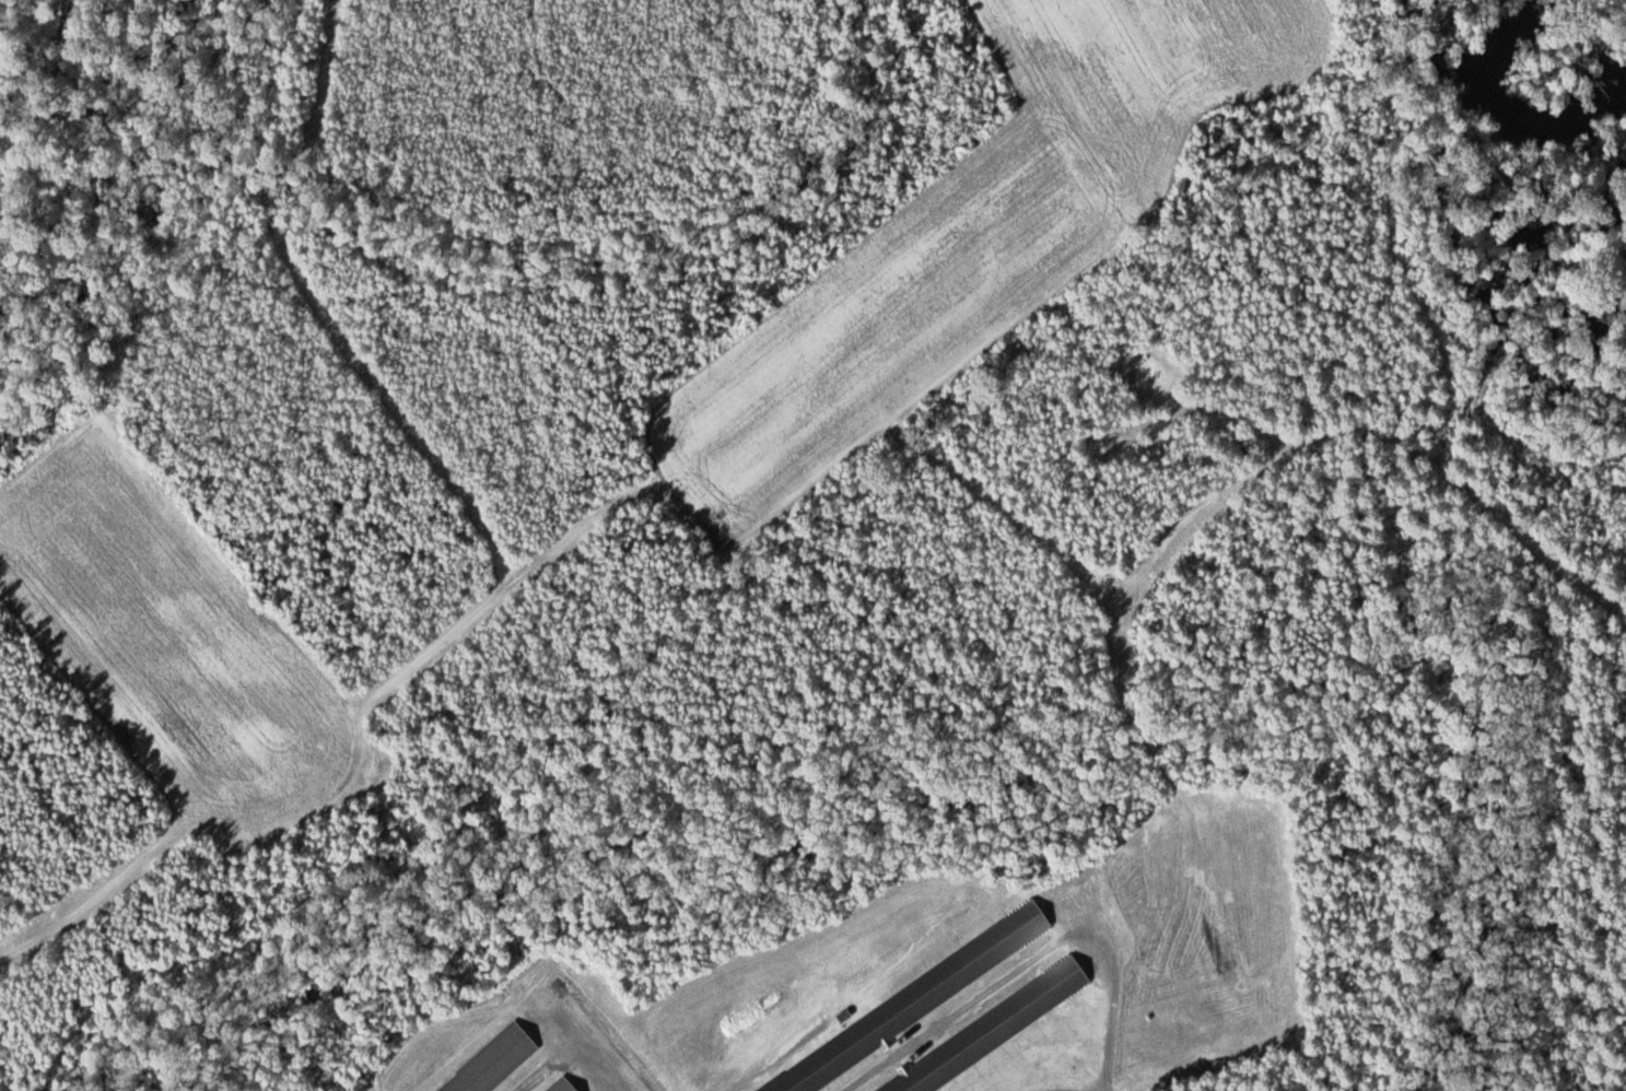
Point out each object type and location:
river: (1495, 125)

